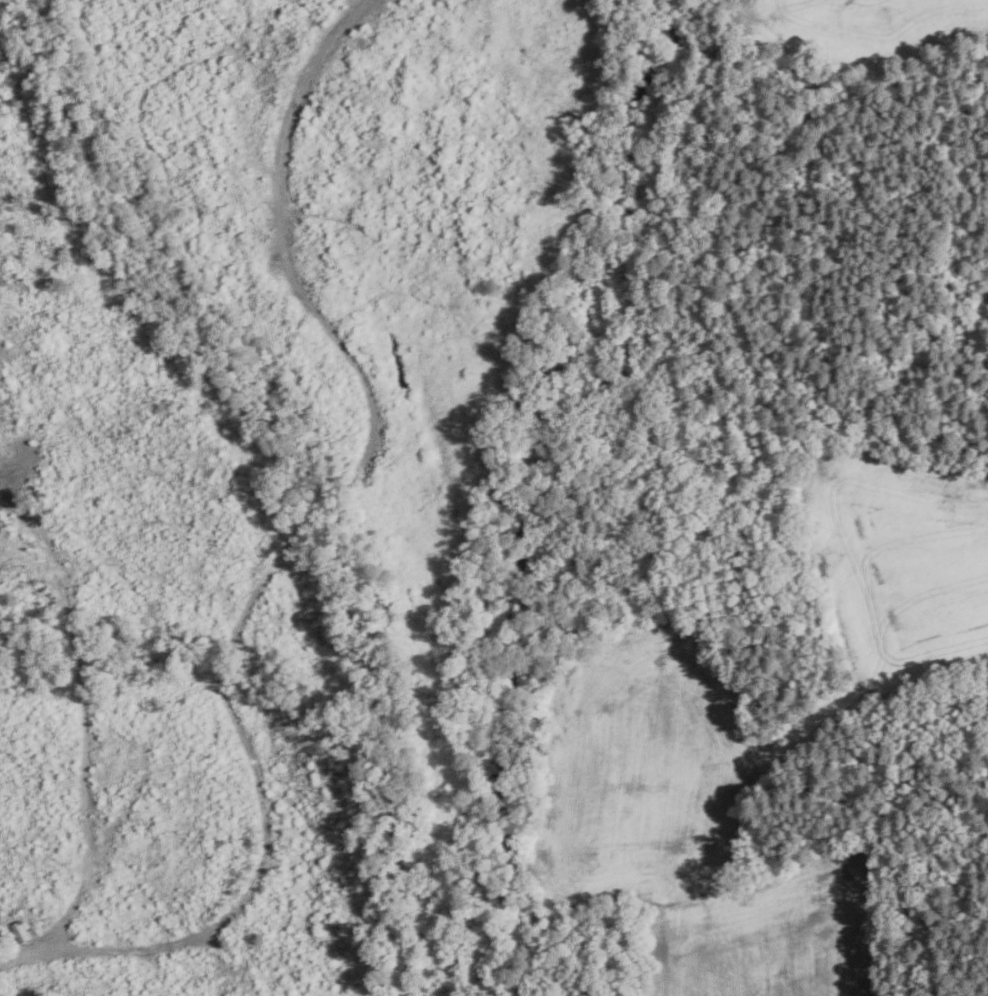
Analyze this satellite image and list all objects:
building: (22, 930)
road: (24, 957)

